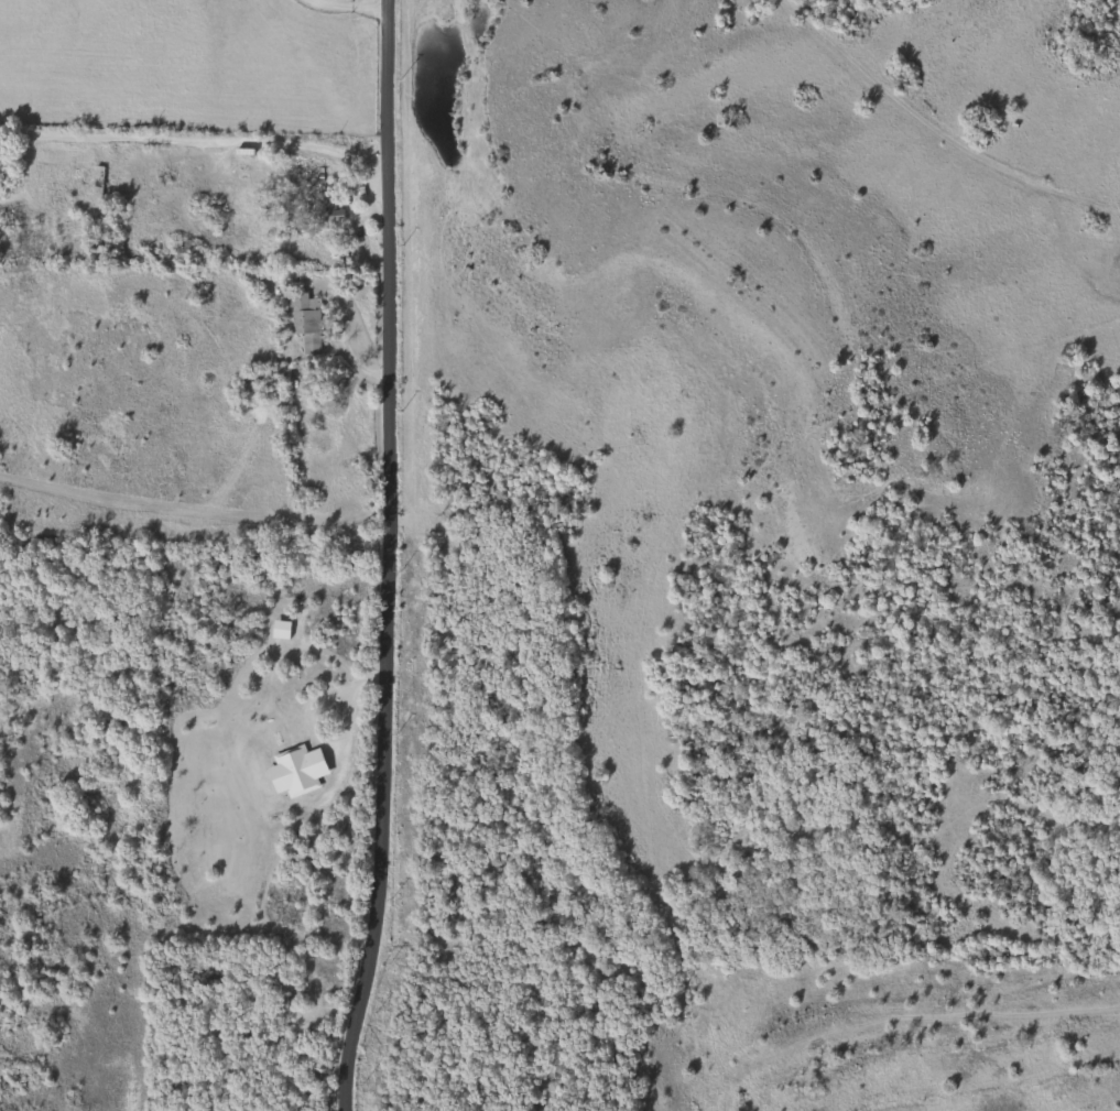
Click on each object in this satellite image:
road: (345, 7)
road: (191, 133)
building: (91, 186)
building: (322, 213)
building: (301, 320)
road: (379, 557)
road: (304, 725)

